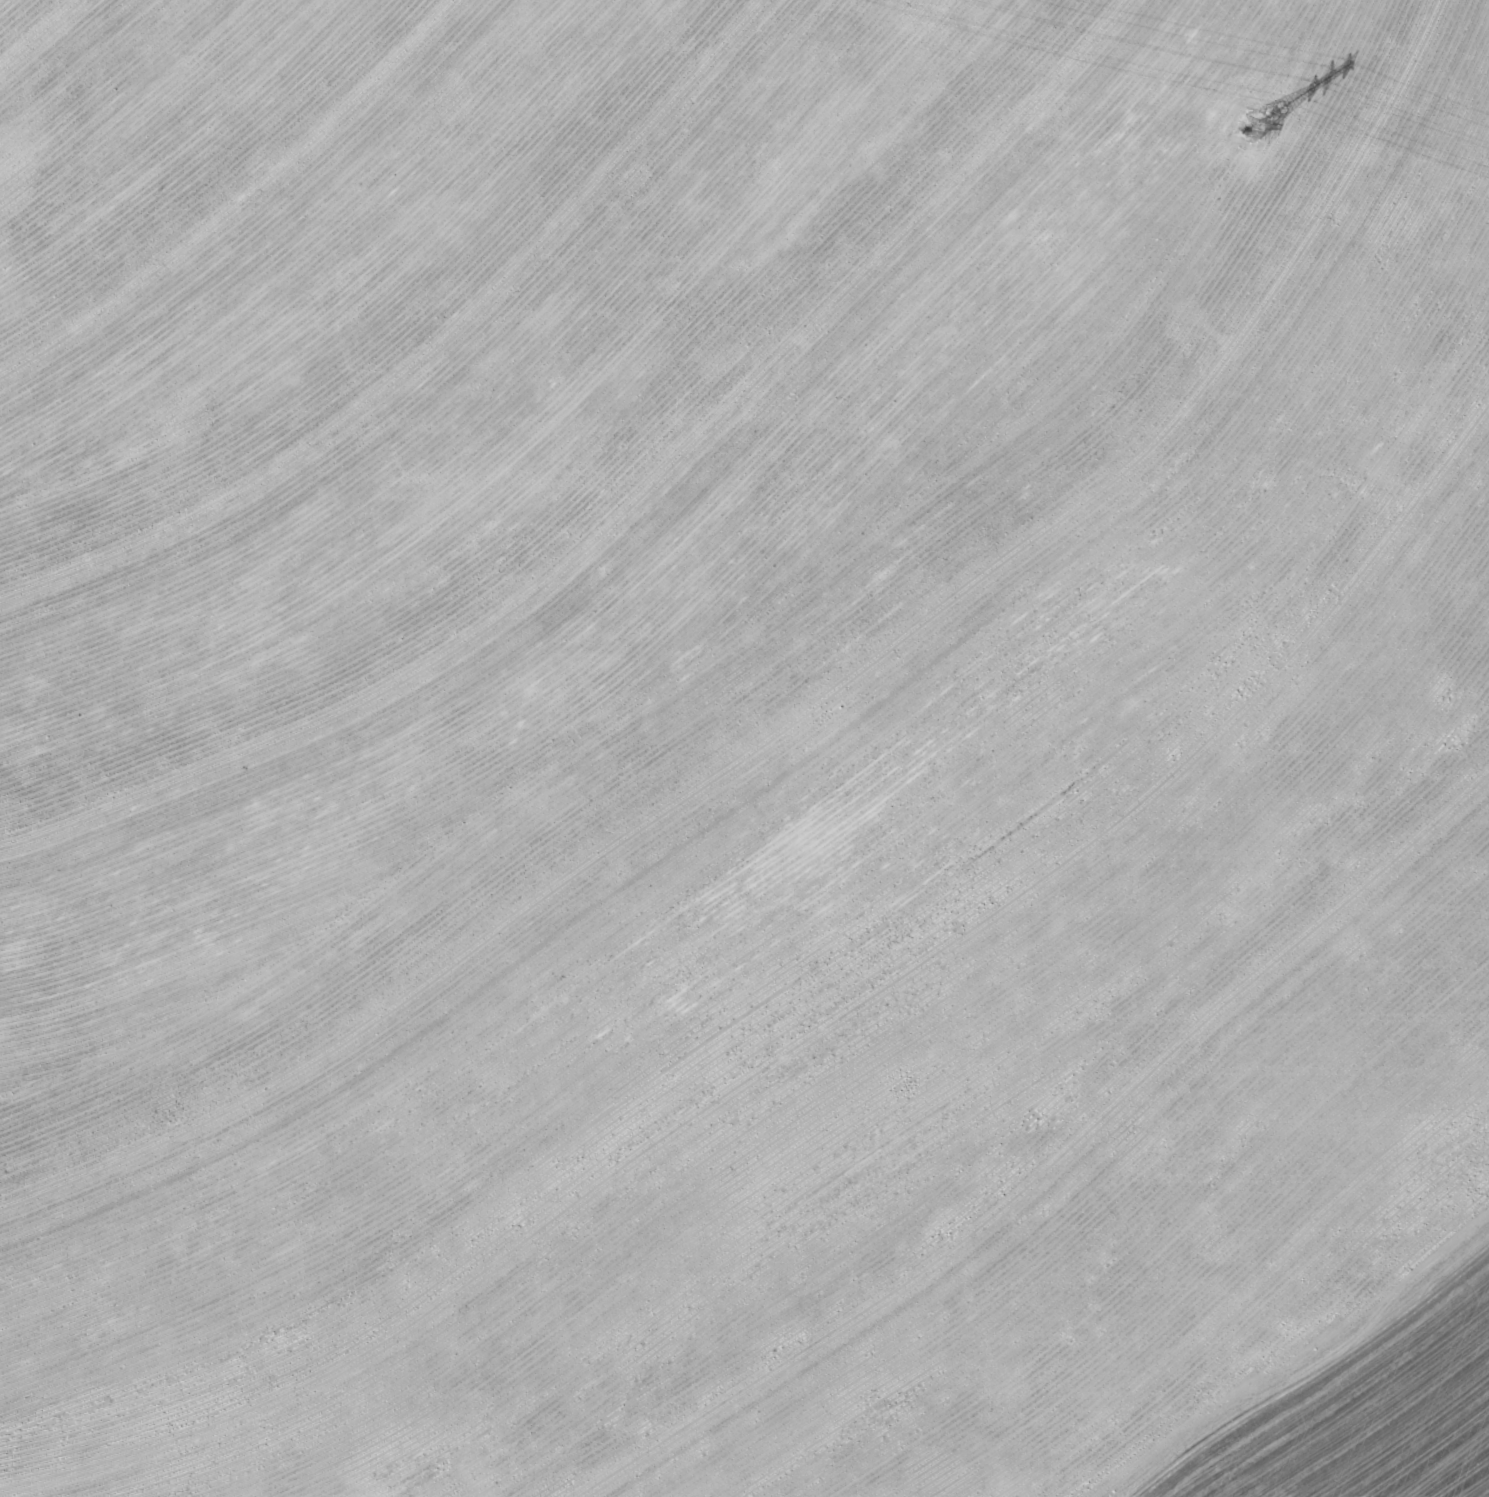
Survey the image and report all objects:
power tower: (1247, 127)

